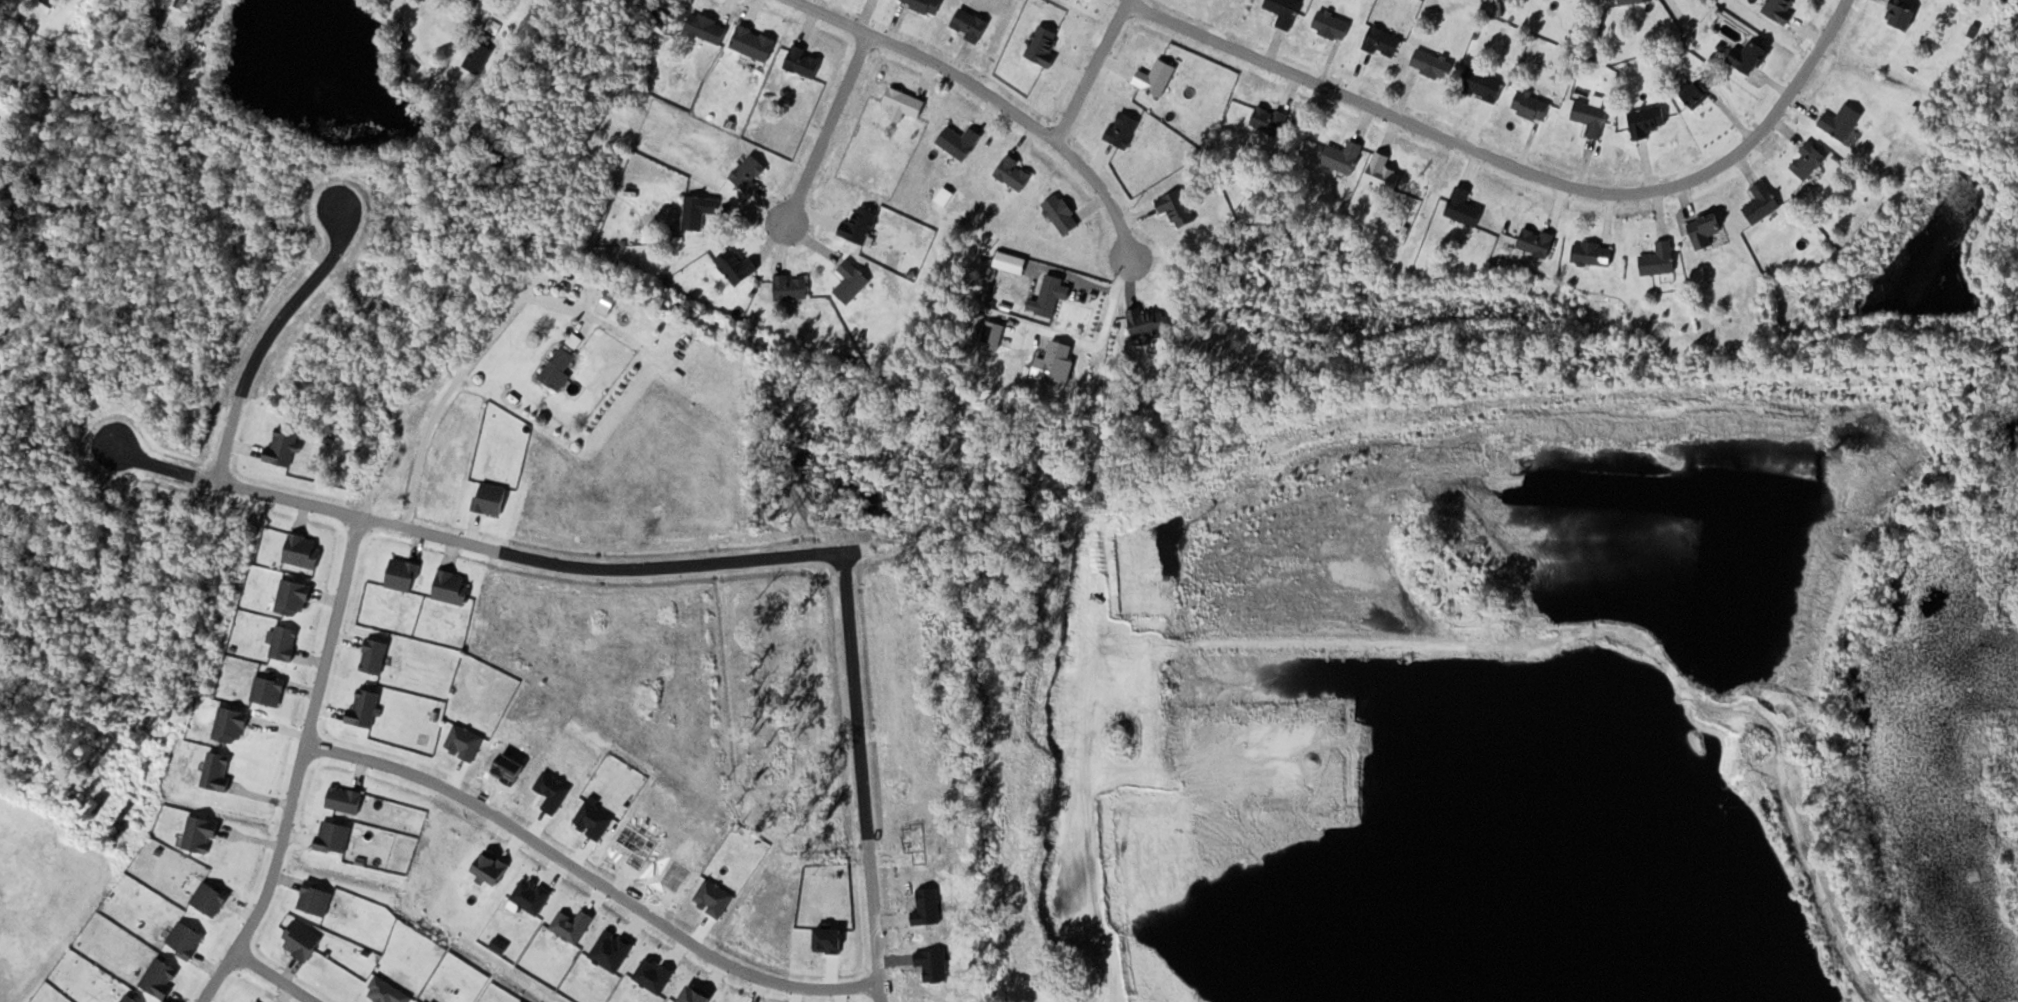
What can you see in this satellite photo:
building: (51, 2)
building: (1629, 2)
building: (925, 5)
building: (1780, 10)
building: (1285, 11)
building: (1902, 15)
building: (969, 24)
building: (1332, 25)
building: (494, 26)
building: (707, 27)
building: (1383, 41)
building: (754, 42)
building: (1044, 46)
building: (478, 56)
building: (1749, 56)
building: (804, 61)
building: (1433, 63)
building: (410, 68)
road: (1090, 69)
building: (1157, 77)
building: (1483, 84)
building: (1700, 90)
road: (992, 97)
building: (905, 101)
building: (1592, 117)
building: (1270, 119)
road: (223, 120)
building: (1647, 120)
building: (1842, 121)
road: (456, 126)
road: (826, 129)
building: (1124, 130)
building: (960, 142)
building: (1344, 157)
building: (1809, 160)
road: (1516, 166)
building: (749, 173)
building: (1015, 173)
building: (1384, 173)
building: (1762, 202)
building: (1178, 207)
building: (1464, 207)
building: (698, 211)
building: (1062, 214)
building: (860, 226)
building: (1706, 229)
building: (1537, 241)
building: (1593, 253)
building: (1660, 259)
building: (736, 267)
building: (852, 282)
building: (792, 288)
building: (1050, 295)
building: (608, 301)
road: (1110, 312)
building: (1148, 322)
building: (995, 336)
road: (363, 353)
building: (1056, 365)
building: (558, 369)
road: (454, 393)
road: (229, 436)
road: (346, 512)
road: (354, 755)
road: (299, 766)
road: (1804, 840)
road: (275, 976)

